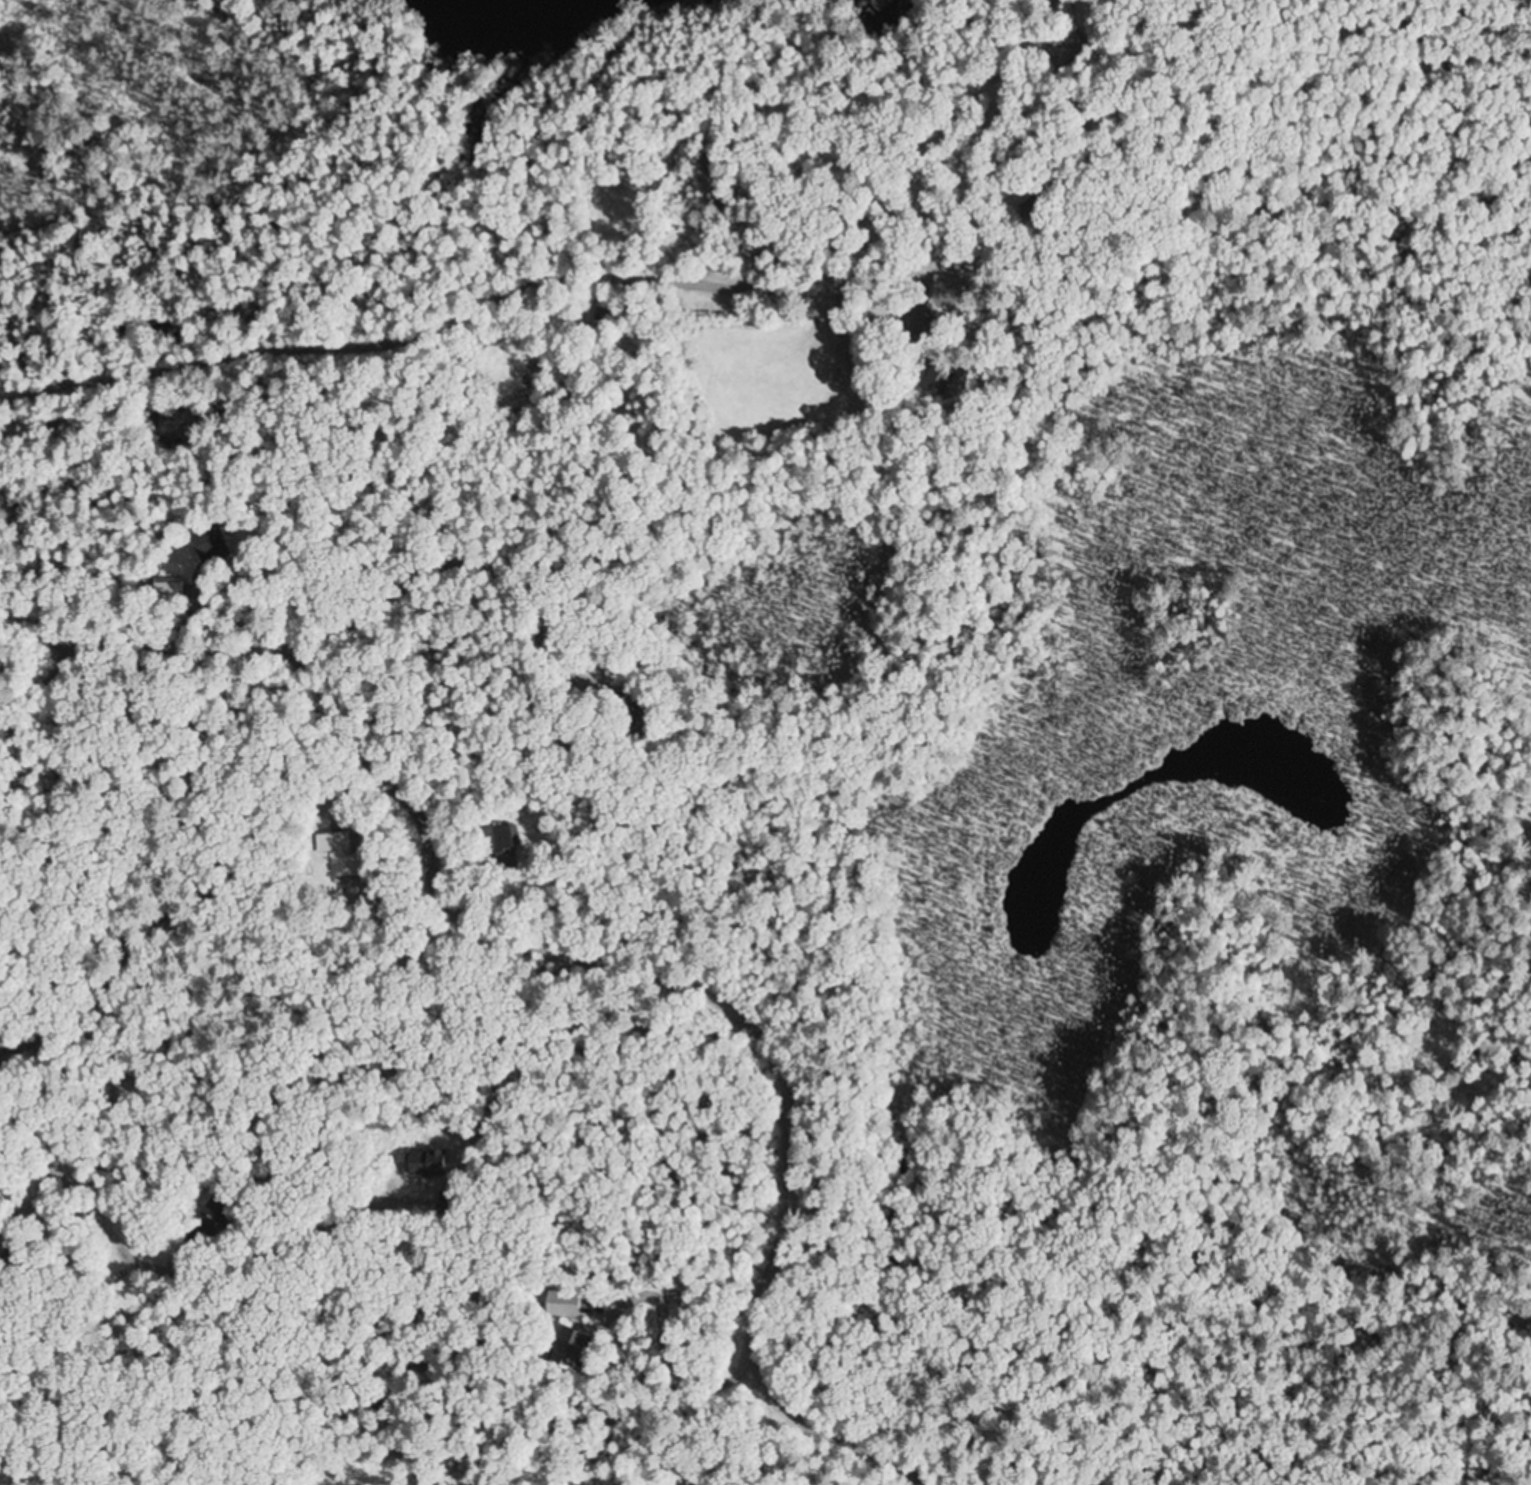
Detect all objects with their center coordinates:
building: (586, 20)
building: (1074, 53)
building: (936, 379)
building: (212, 545)
building: (172, 591)
road: (477, 641)
road: (65, 652)
road: (32, 662)
building: (639, 710)
building: (512, 847)
building: (355, 852)
road: (43, 931)
road: (585, 956)
building: (440, 1161)
building: (222, 1213)
building: (559, 1305)
building: (564, 1347)

